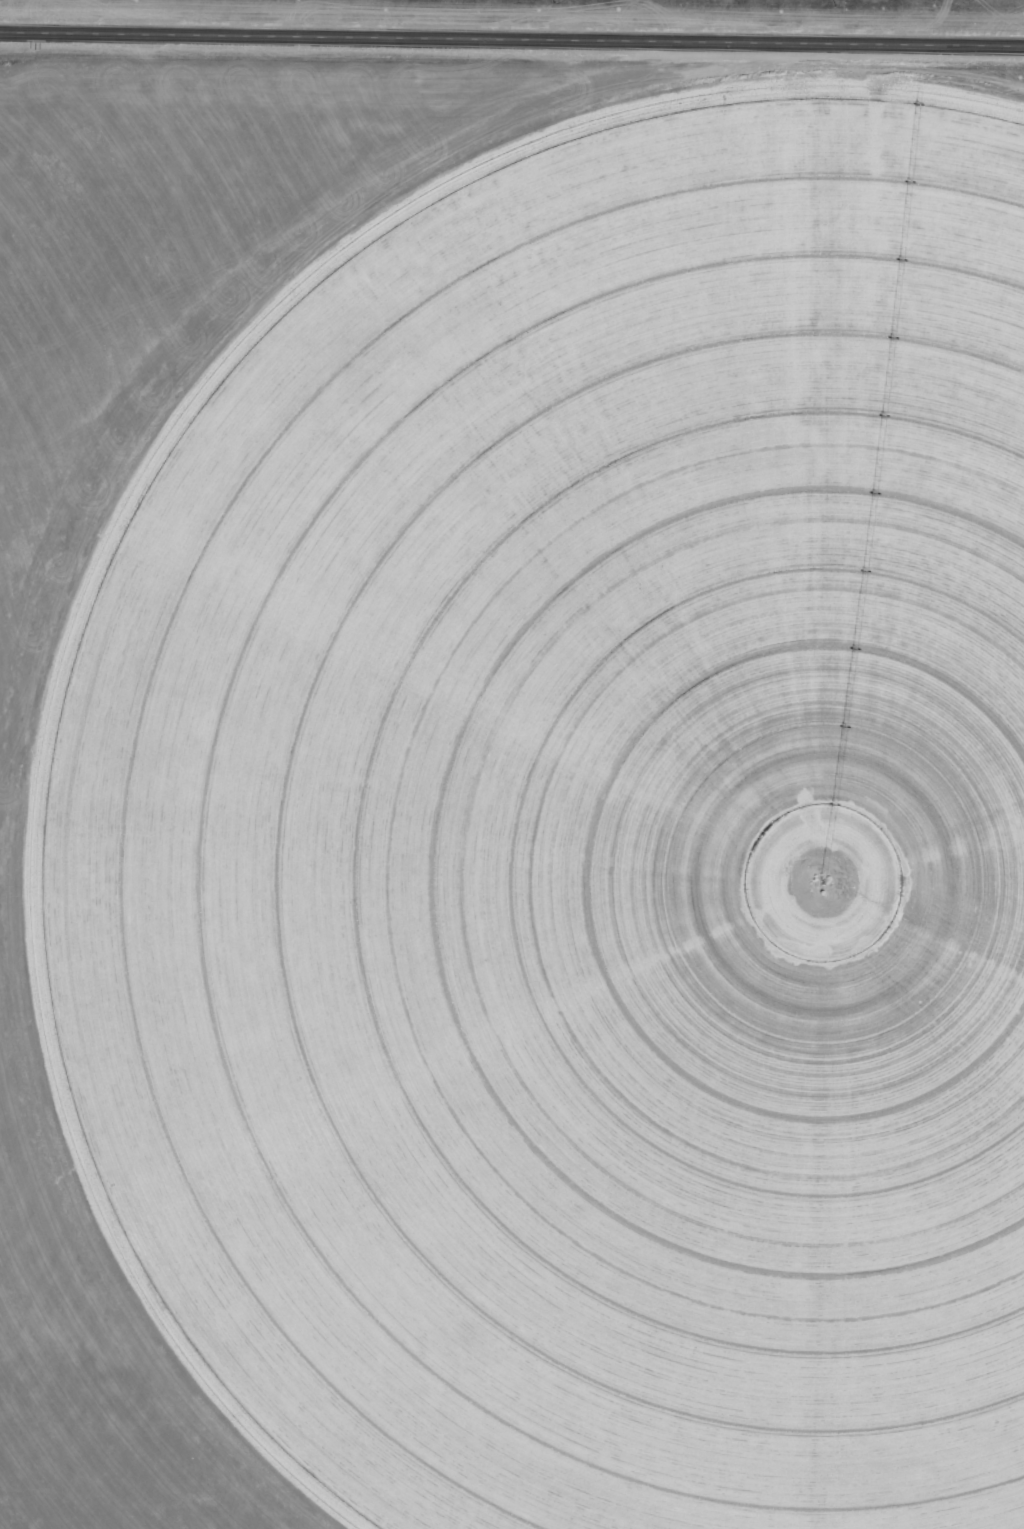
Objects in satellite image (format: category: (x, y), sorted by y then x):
road: (12, 16)
road: (512, 37)

